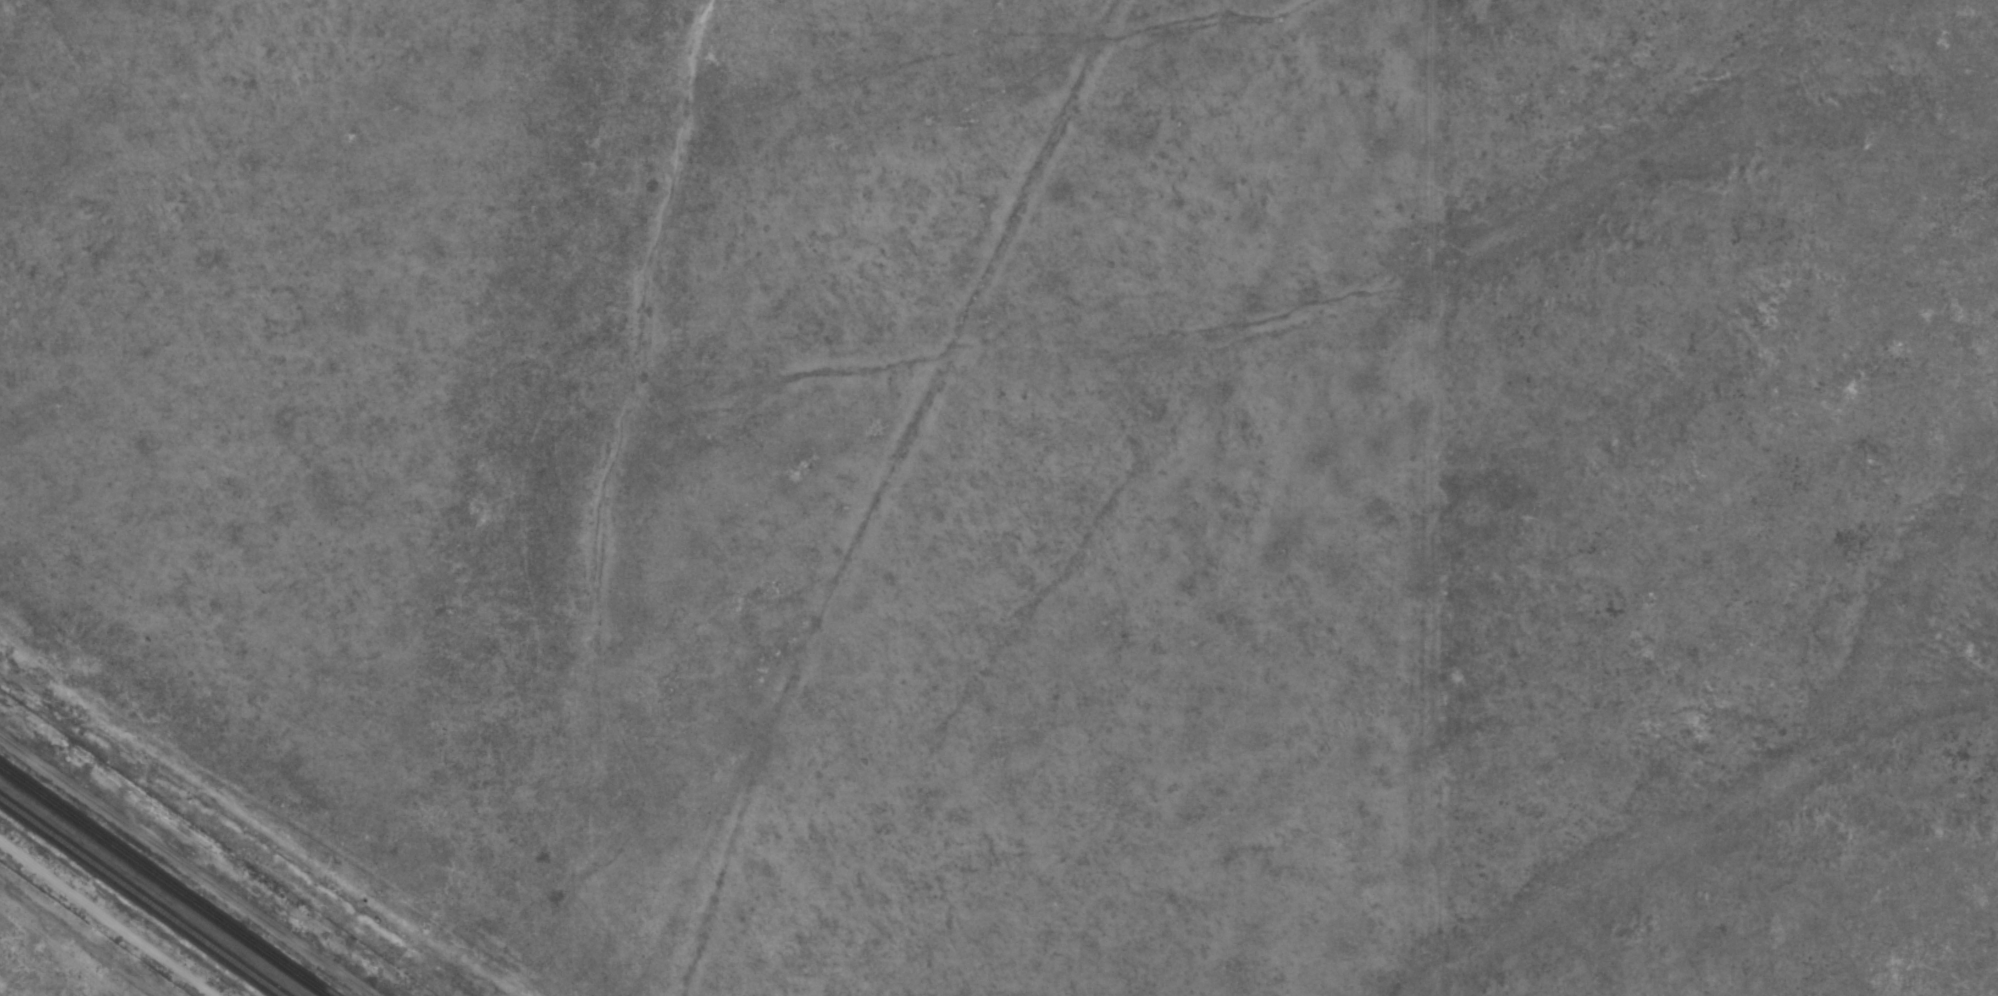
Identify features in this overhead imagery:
road: (1416, 498)
railway: (163, 881)
railway: (140, 897)
road: (53, 961)

